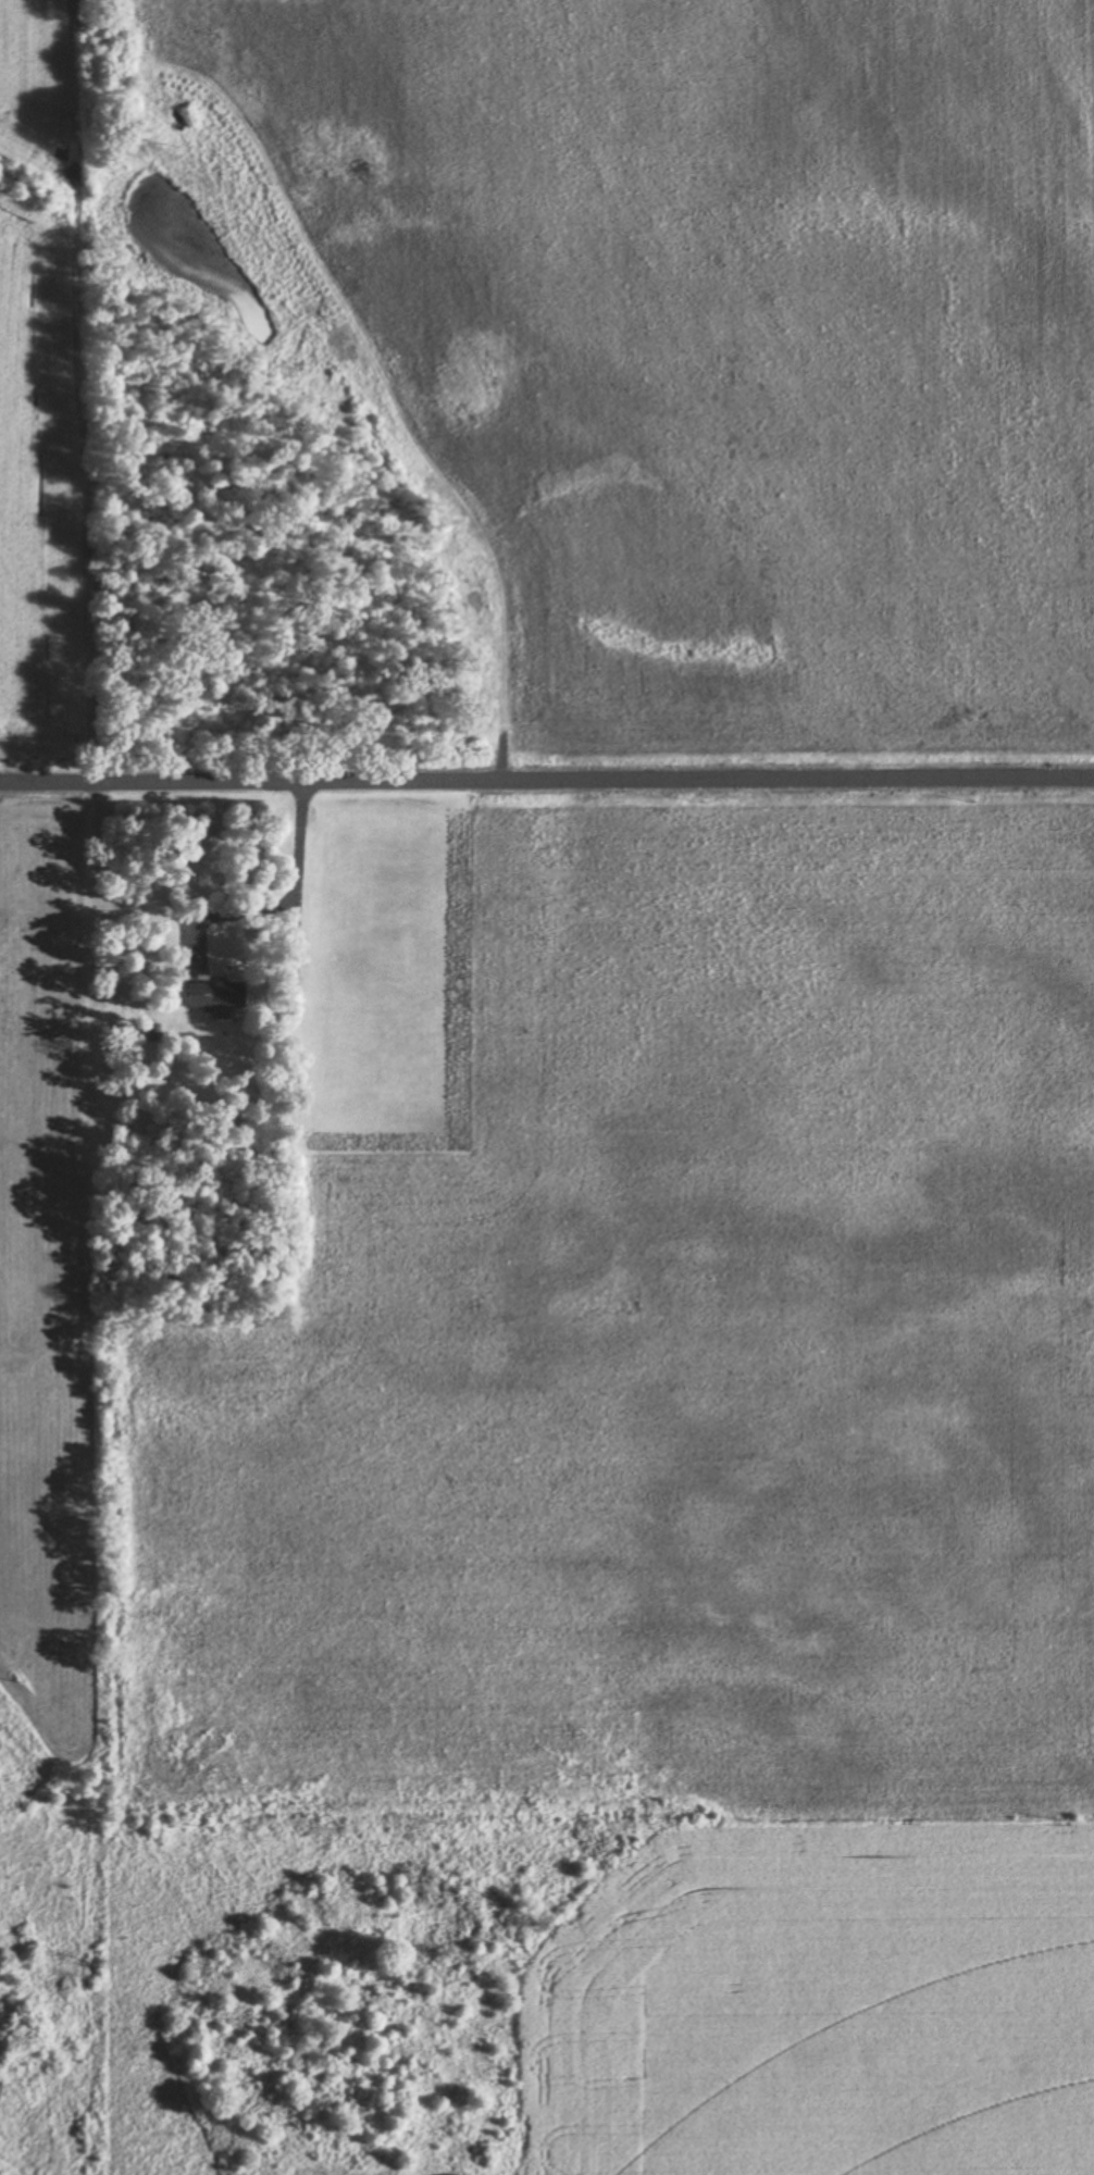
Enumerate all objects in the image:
road: (547, 775)
road: (295, 872)
building: (213, 993)

